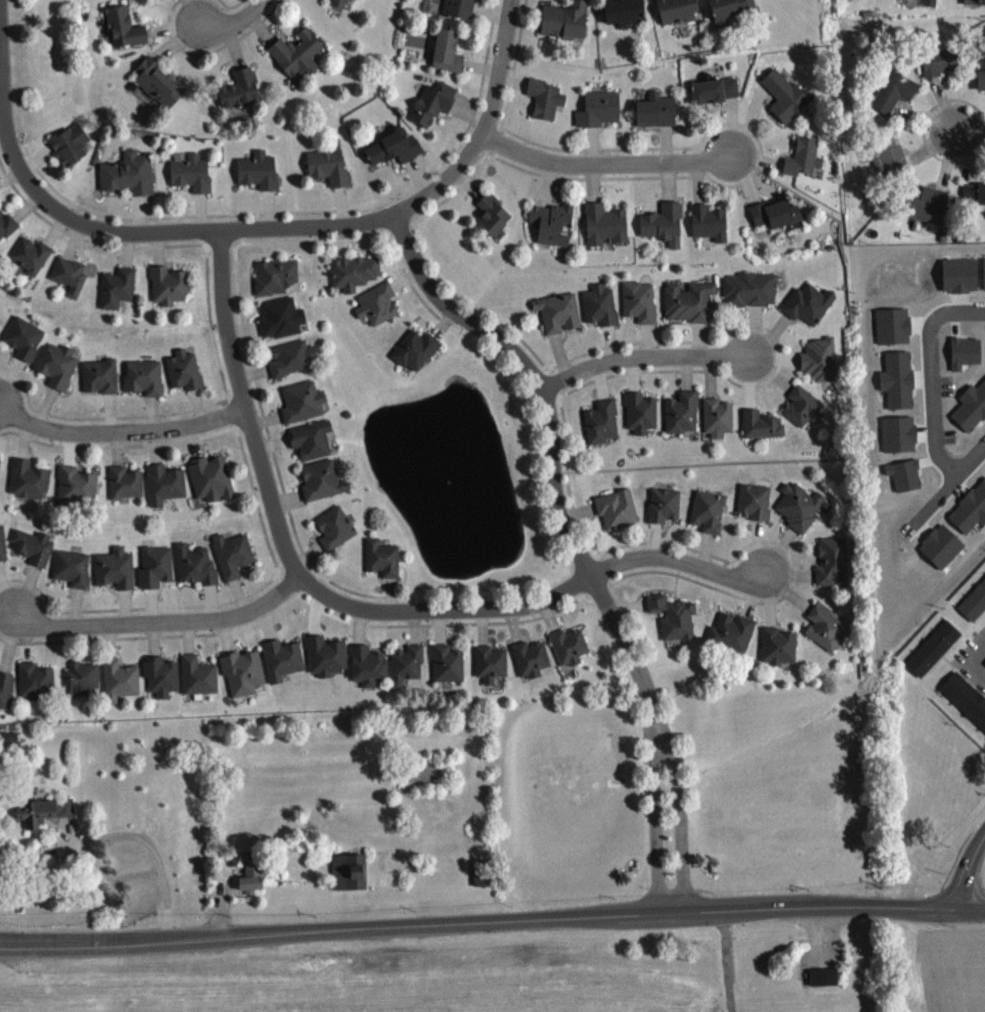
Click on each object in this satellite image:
building: (147, 0)
building: (340, 5)
building: (928, 5)
building: (975, 5)
building: (460, 12)
building: (731, 13)
building: (677, 14)
building: (626, 18)
road: (235, 21)
building: (566, 27)
building: (125, 35)
building: (448, 59)
building: (299, 61)
building: (939, 70)
building: (982, 87)
building: (159, 90)
building: (241, 96)
building: (716, 98)
building: (895, 99)
building: (787, 103)
building: (546, 106)
building: (434, 110)
building: (600, 117)
building: (657, 118)
road: (488, 128)
road: (971, 136)
building: (71, 151)
building: (395, 155)
building: (889, 164)
building: (805, 165)
road: (606, 167)
building: (330, 174)
building: (260, 178)
building: (193, 180)
building: (130, 181)
building: (974, 204)
building: (927, 211)
building: (777, 221)
building: (494, 223)
building: (710, 230)
building: (554, 231)
building: (664, 231)
building: (606, 232)
building: (7, 233)
road: (159, 233)
building: (32, 262)
building: (984, 272)
building: (960, 274)
building: (355, 280)
building: (71, 282)
building: (278, 285)
building: (170, 292)
building: (118, 295)
building: (751, 297)
building: (641, 309)
building: (692, 310)
building: (810, 311)
building: (379, 312)
building: (601, 313)
building: (559, 320)
building: (893, 324)
building: (282, 325)
building: (25, 345)
building: (965, 351)
road: (644, 357)
building: (417, 358)
building: (294, 366)
building: (820, 367)
building: (58, 372)
road: (932, 375)
building: (186, 378)
building: (898, 378)
building: (101, 383)
building: (146, 384)
building: (971, 406)
building: (304, 409)
building: (804, 414)
building: (642, 420)
building: (683, 420)
building: (719, 425)
building: (603, 430)
building: (763, 432)
building: (899, 433)
road: (120, 435)
building: (313, 447)
building: (905, 473)
building: (29, 486)
building: (212, 486)
building: (323, 488)
road: (947, 488)
building: (127, 490)
building: (166, 491)
building: (78, 492)
building: (971, 508)
building: (756, 509)
building: (665, 512)
building: (801, 513)
building: (618, 516)
building: (709, 519)
building: (336, 535)
road: (576, 541)
building: (942, 545)
building: (3, 552)
building: (34, 554)
road: (290, 558)
road: (680, 560)
building: (234, 562)
building: (384, 566)
building: (834, 569)
building: (197, 573)
building: (157, 574)
building: (73, 575)
building: (116, 576)
building: (975, 611)
road: (161, 623)
building: (674, 624)
building: (827, 635)
building: (733, 640)
building: (570, 654)
building: (779, 654)
building: (934, 656)
road: (969, 662)
building: (327, 663)
building: (532, 666)
building: (283, 667)
building: (448, 671)
building: (492, 671)
building: (369, 673)
building: (407, 673)
building: (244, 680)
building: (162, 683)
building: (199, 683)
building: (83, 686)
building: (121, 687)
building: (37, 688)
building: (7, 696)
building: (966, 704)
building: (11, 746)
building: (46, 818)
road: (117, 834)
road: (968, 869)
building: (350, 879)
building: (252, 886)
road: (973, 908)
road: (480, 921)
road: (727, 961)
building: (821, 975)
building: (825, 984)

